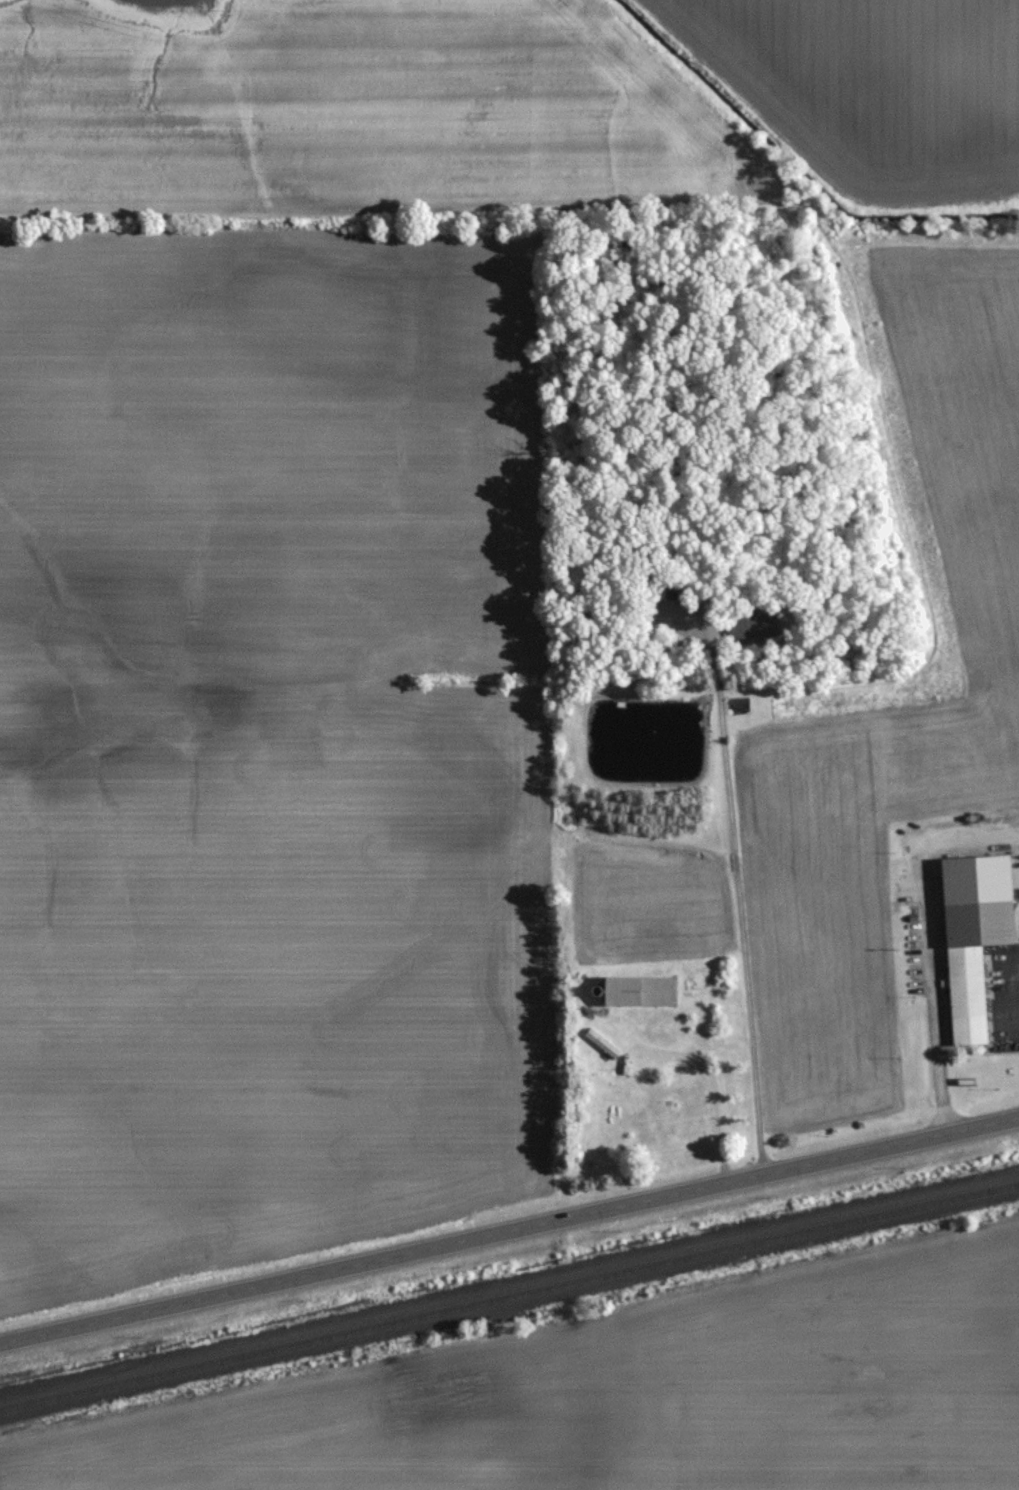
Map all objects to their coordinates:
crop: (870, 87)
crop: (373, 105)
crop: (976, 681)
crop: (266, 735)
road: (741, 916)
road: (932, 967)
road: (509, 1231)
railway: (509, 1289)
railway: (509, 1300)
crop: (632, 1400)

